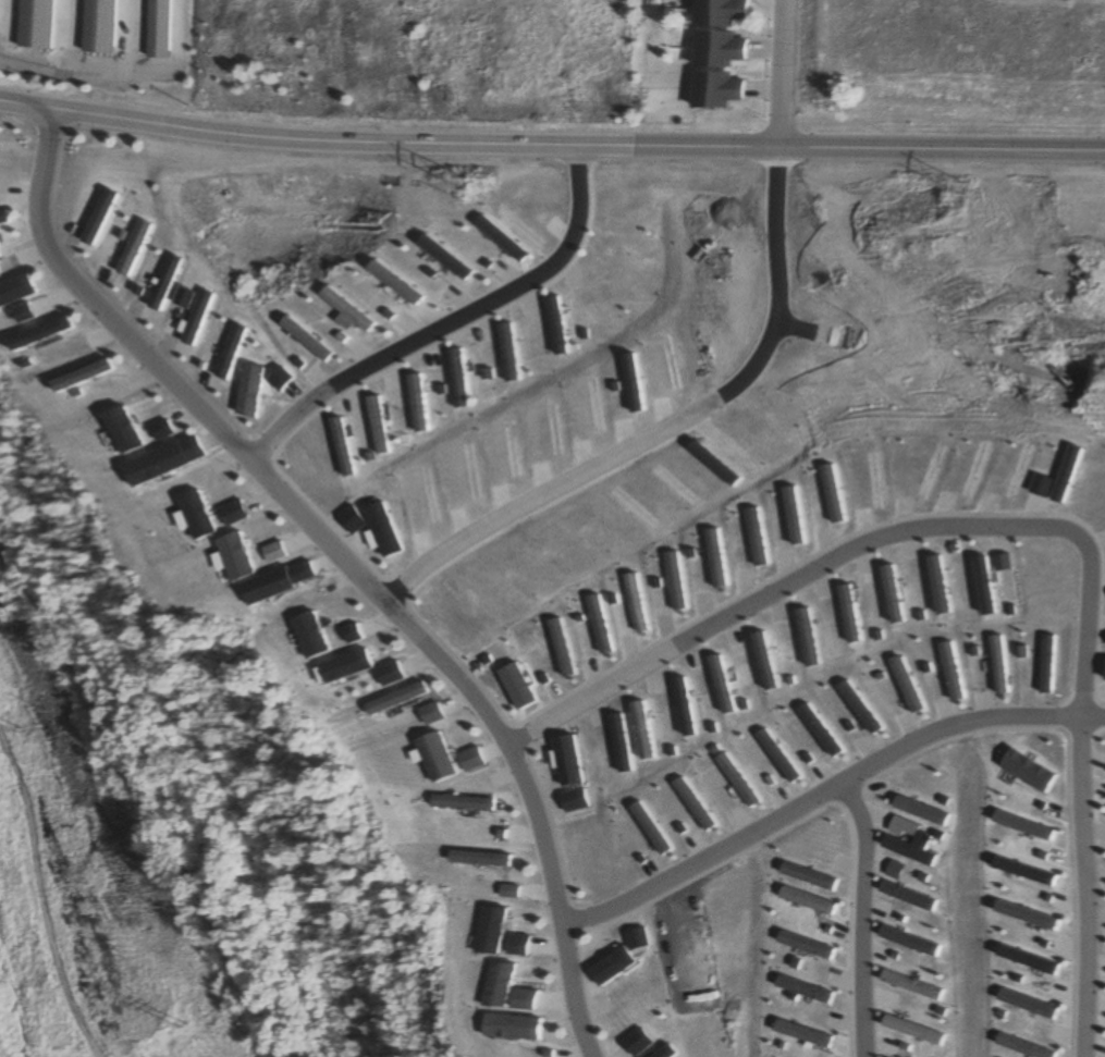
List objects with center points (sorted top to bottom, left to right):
building: (717, 13)
building: (32, 24)
building: (95, 26)
building: (160, 29)
building: (717, 50)
road: (778, 73)
building: (717, 90)
road: (551, 140)
power tower: (463, 194)
power tower: (960, 195)
road: (445, 323)
road: (1019, 527)
road: (339, 563)
road: (832, 797)
road: (143, 802)
road: (856, 923)

